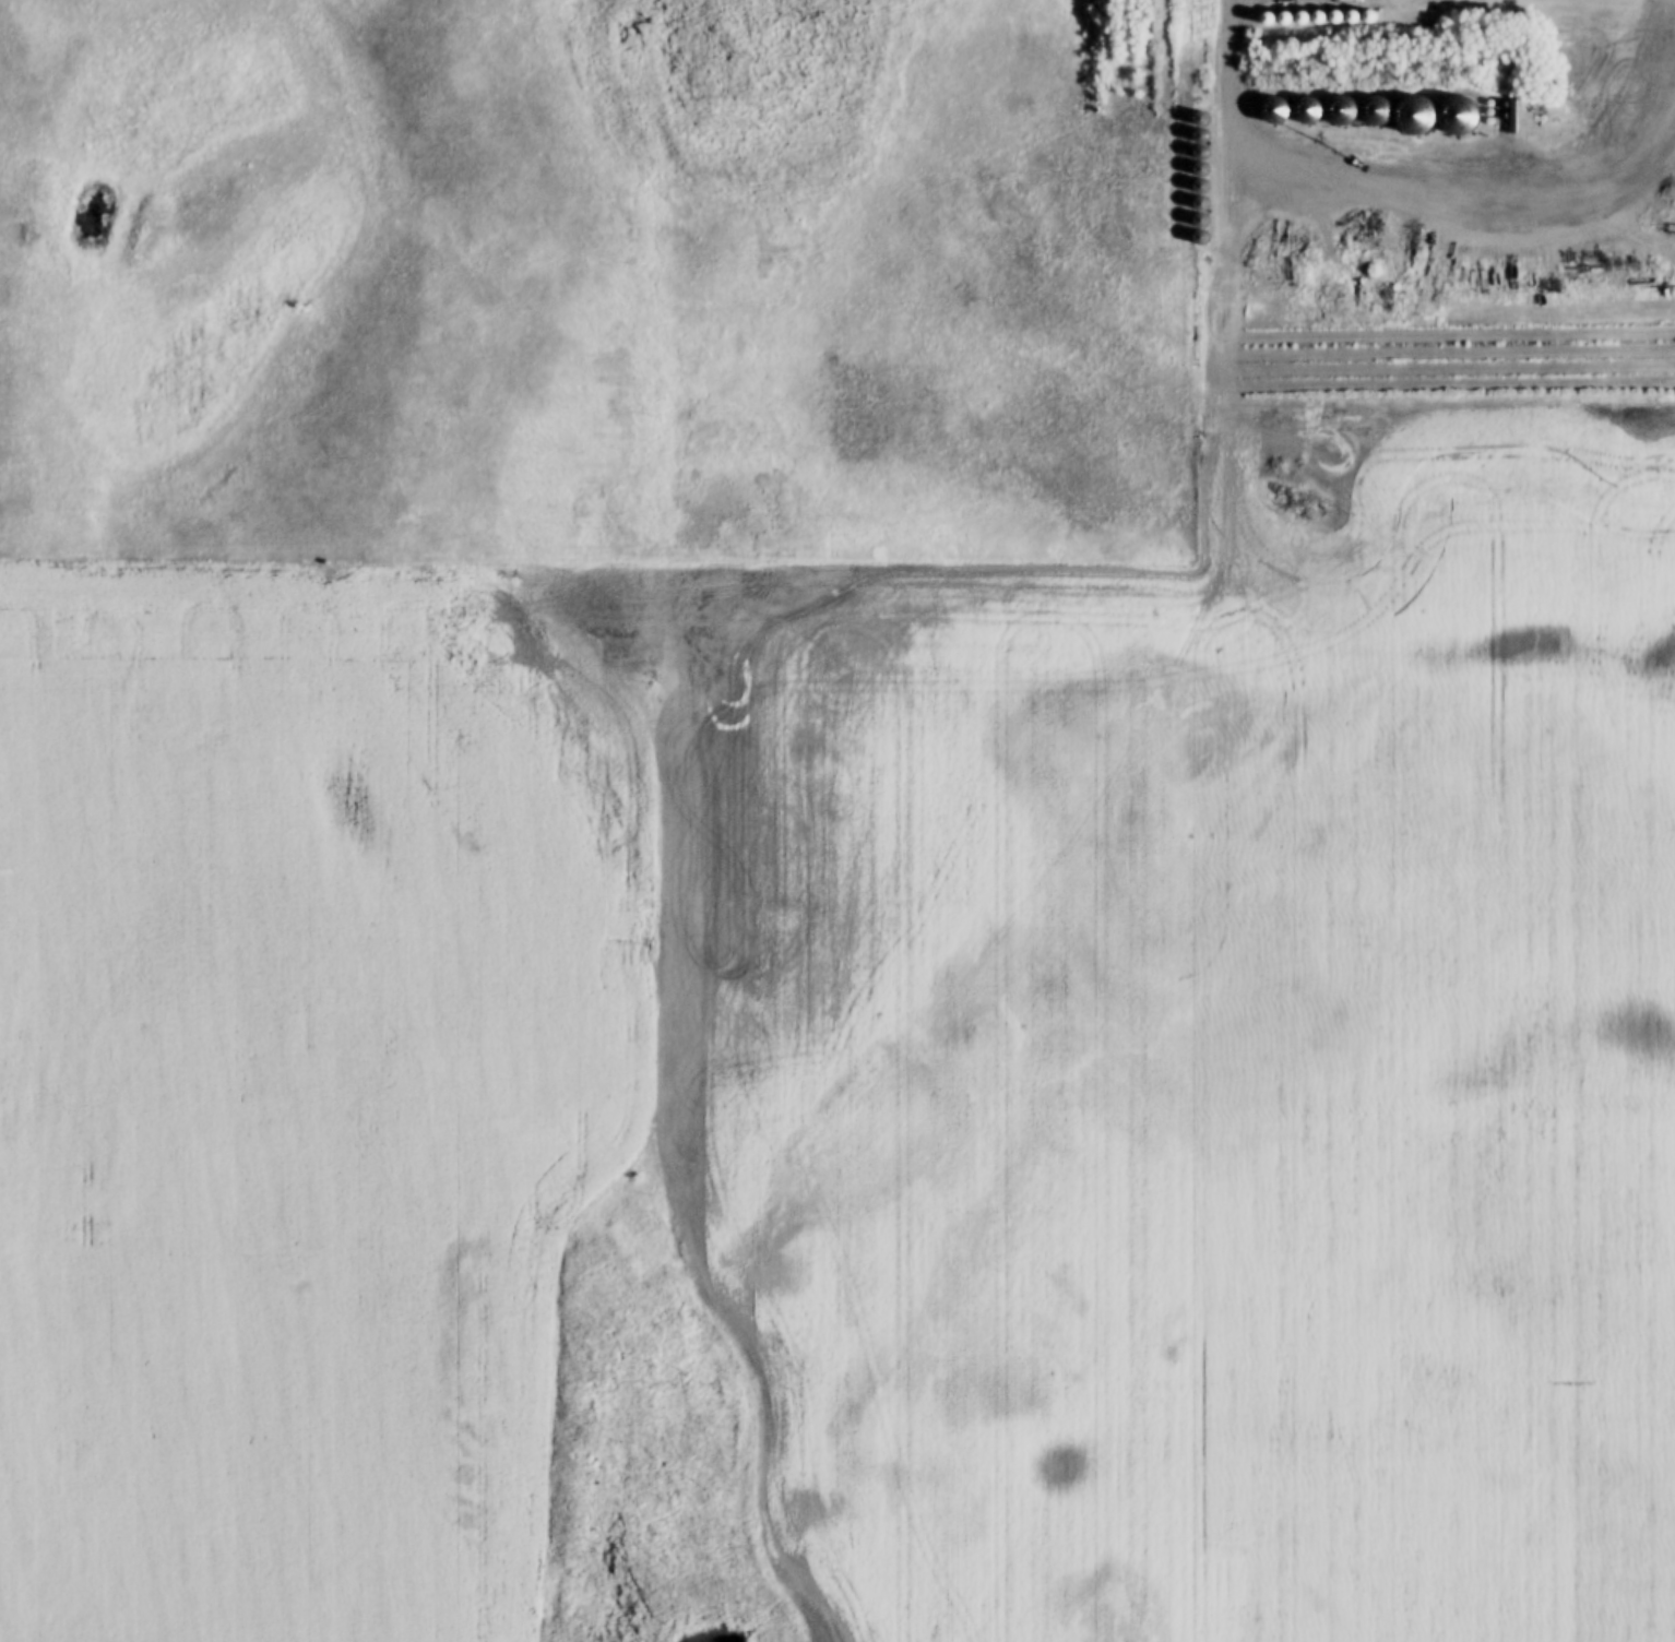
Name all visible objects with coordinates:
road: (1400, 178)

